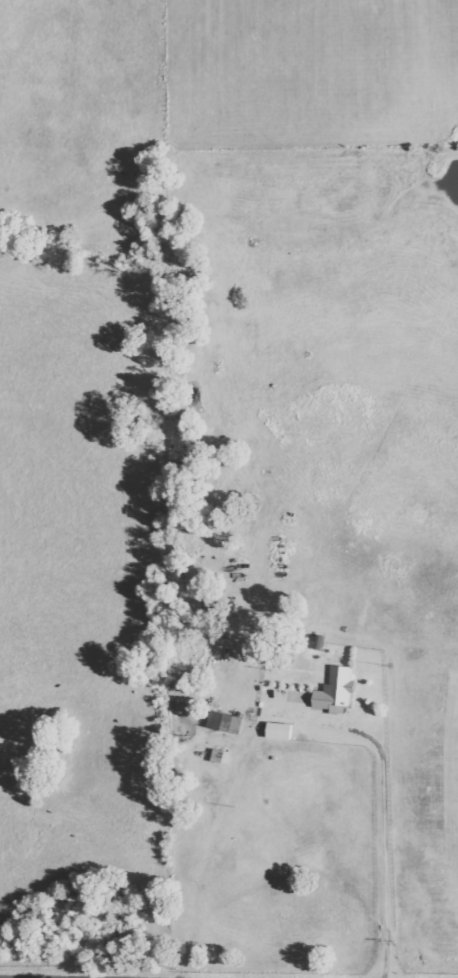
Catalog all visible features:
building: (335, 691)
building: (224, 722)
building: (279, 731)
building: (218, 756)

